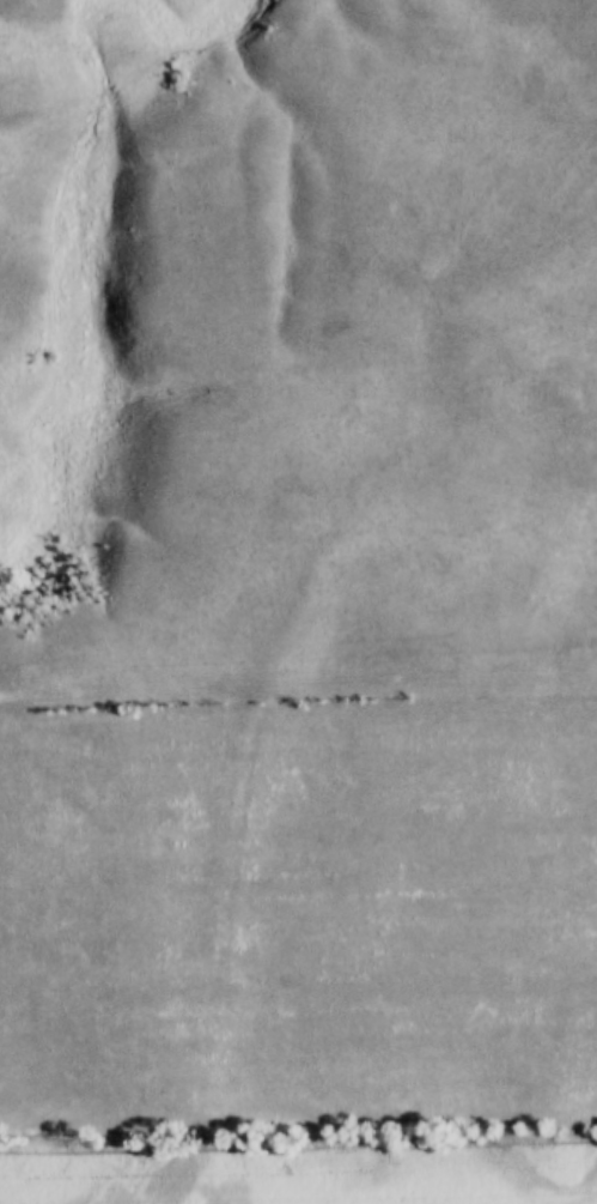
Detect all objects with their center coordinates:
road: (298, 709)

